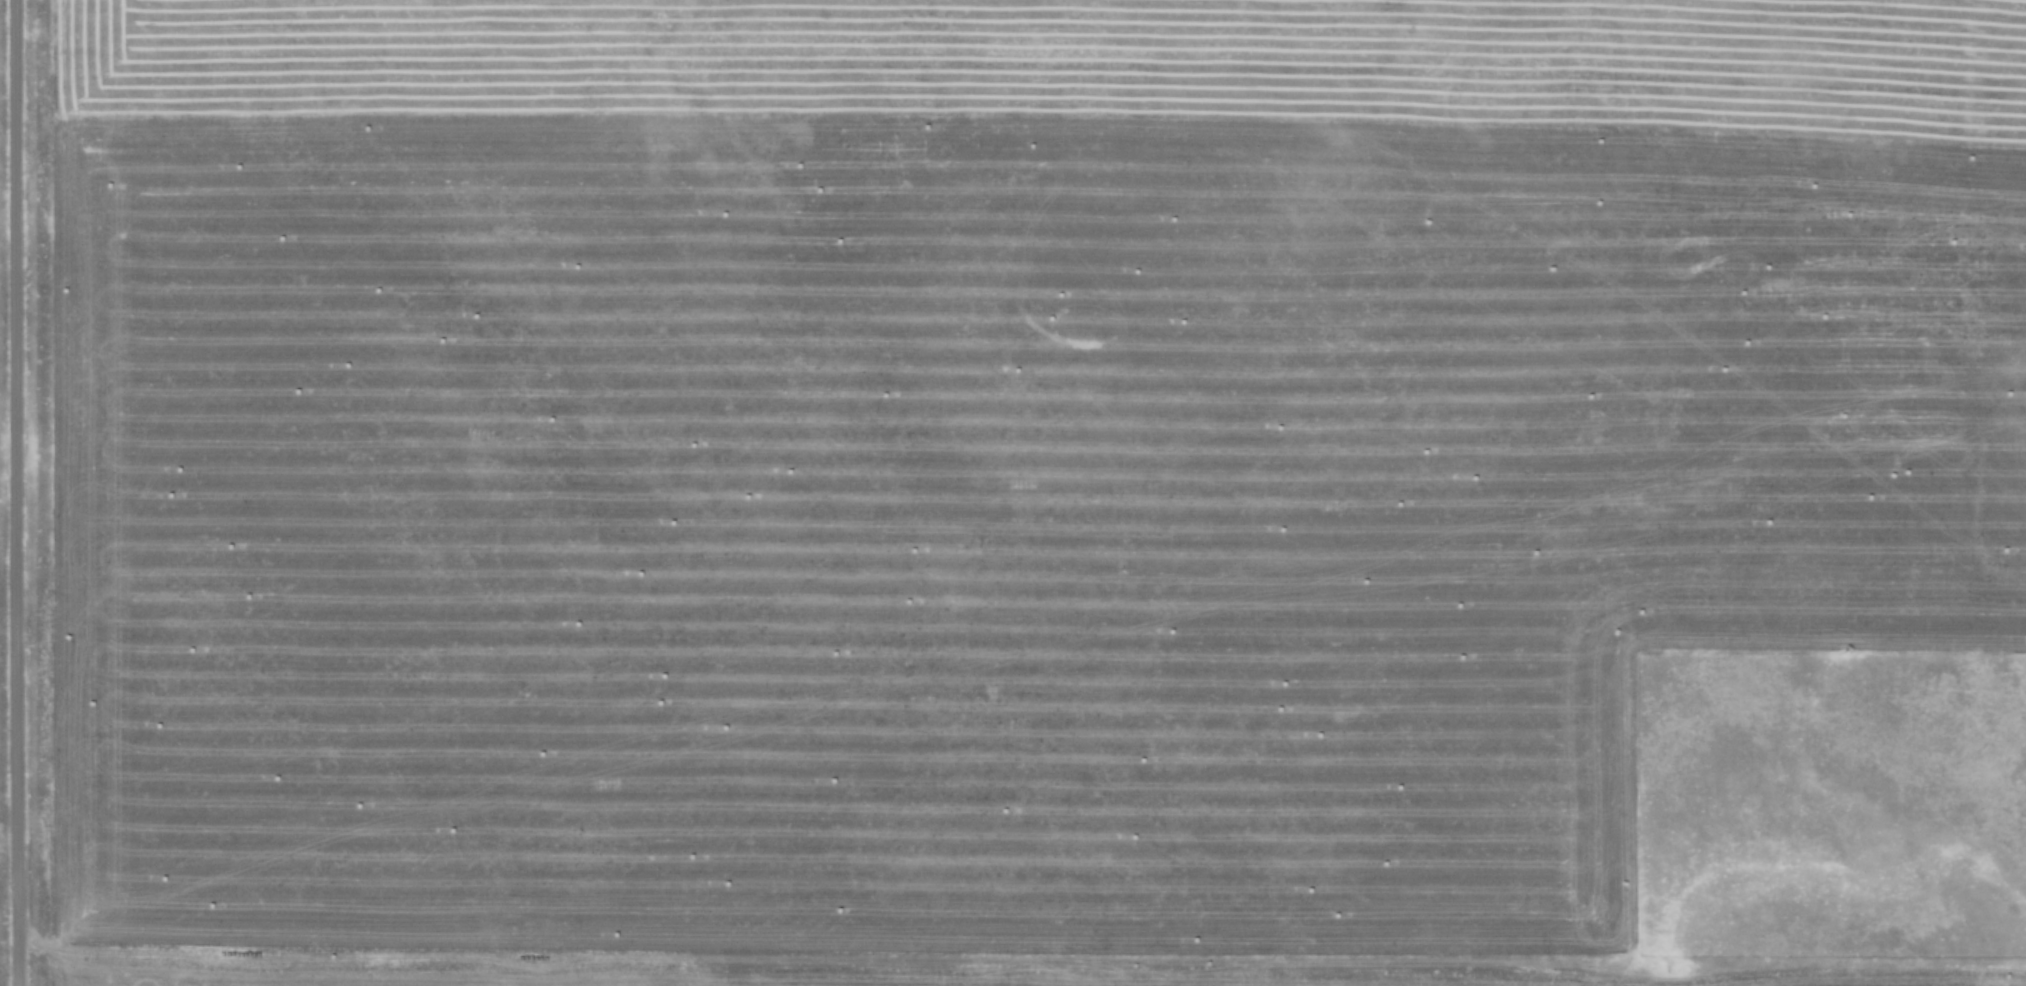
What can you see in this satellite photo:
building: (275, 358)
road: (23, 492)
road: (12, 845)
road: (812, 961)
road: (1899, 980)

